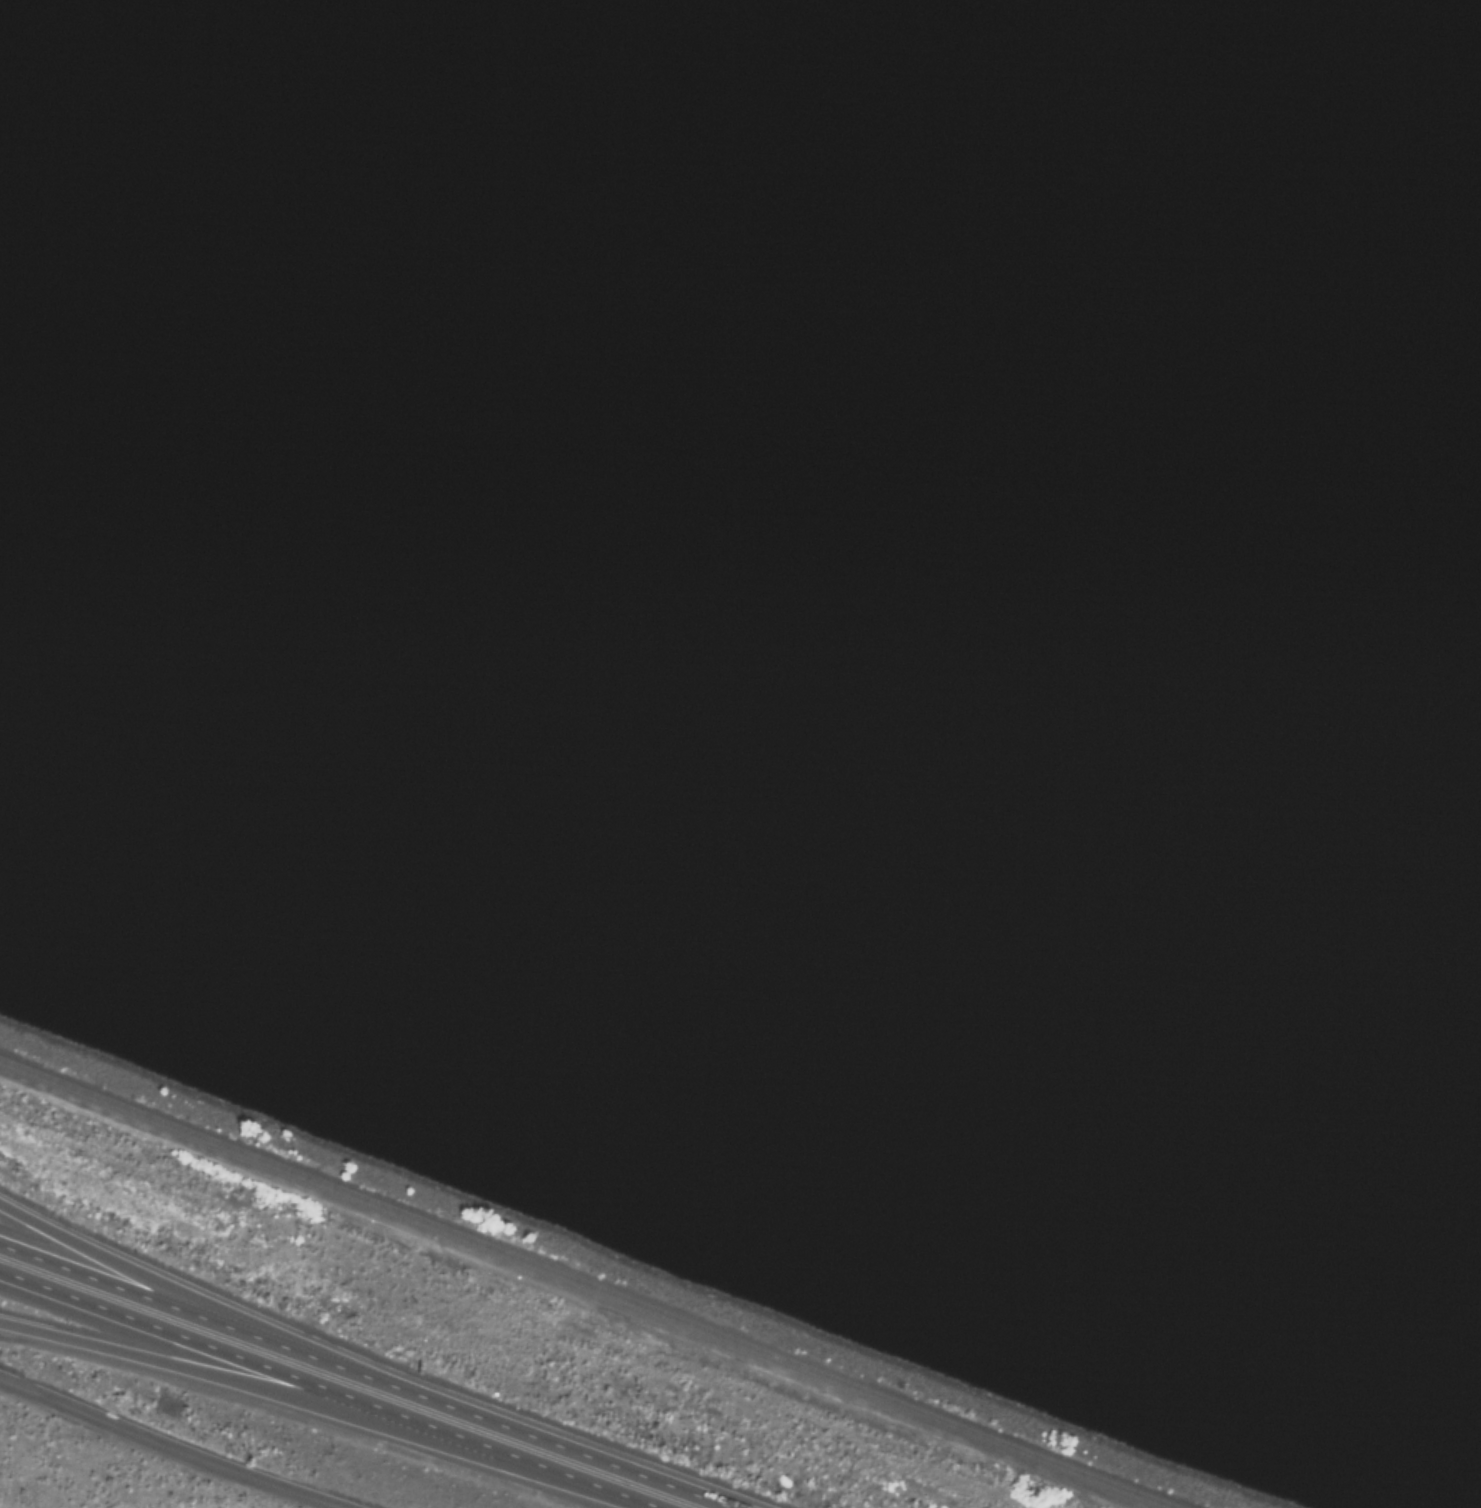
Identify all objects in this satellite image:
road: (178, 1290)
railway: (593, 1293)
road: (217, 1377)
road: (368, 1381)
road: (328, 1396)
road: (165, 1446)

